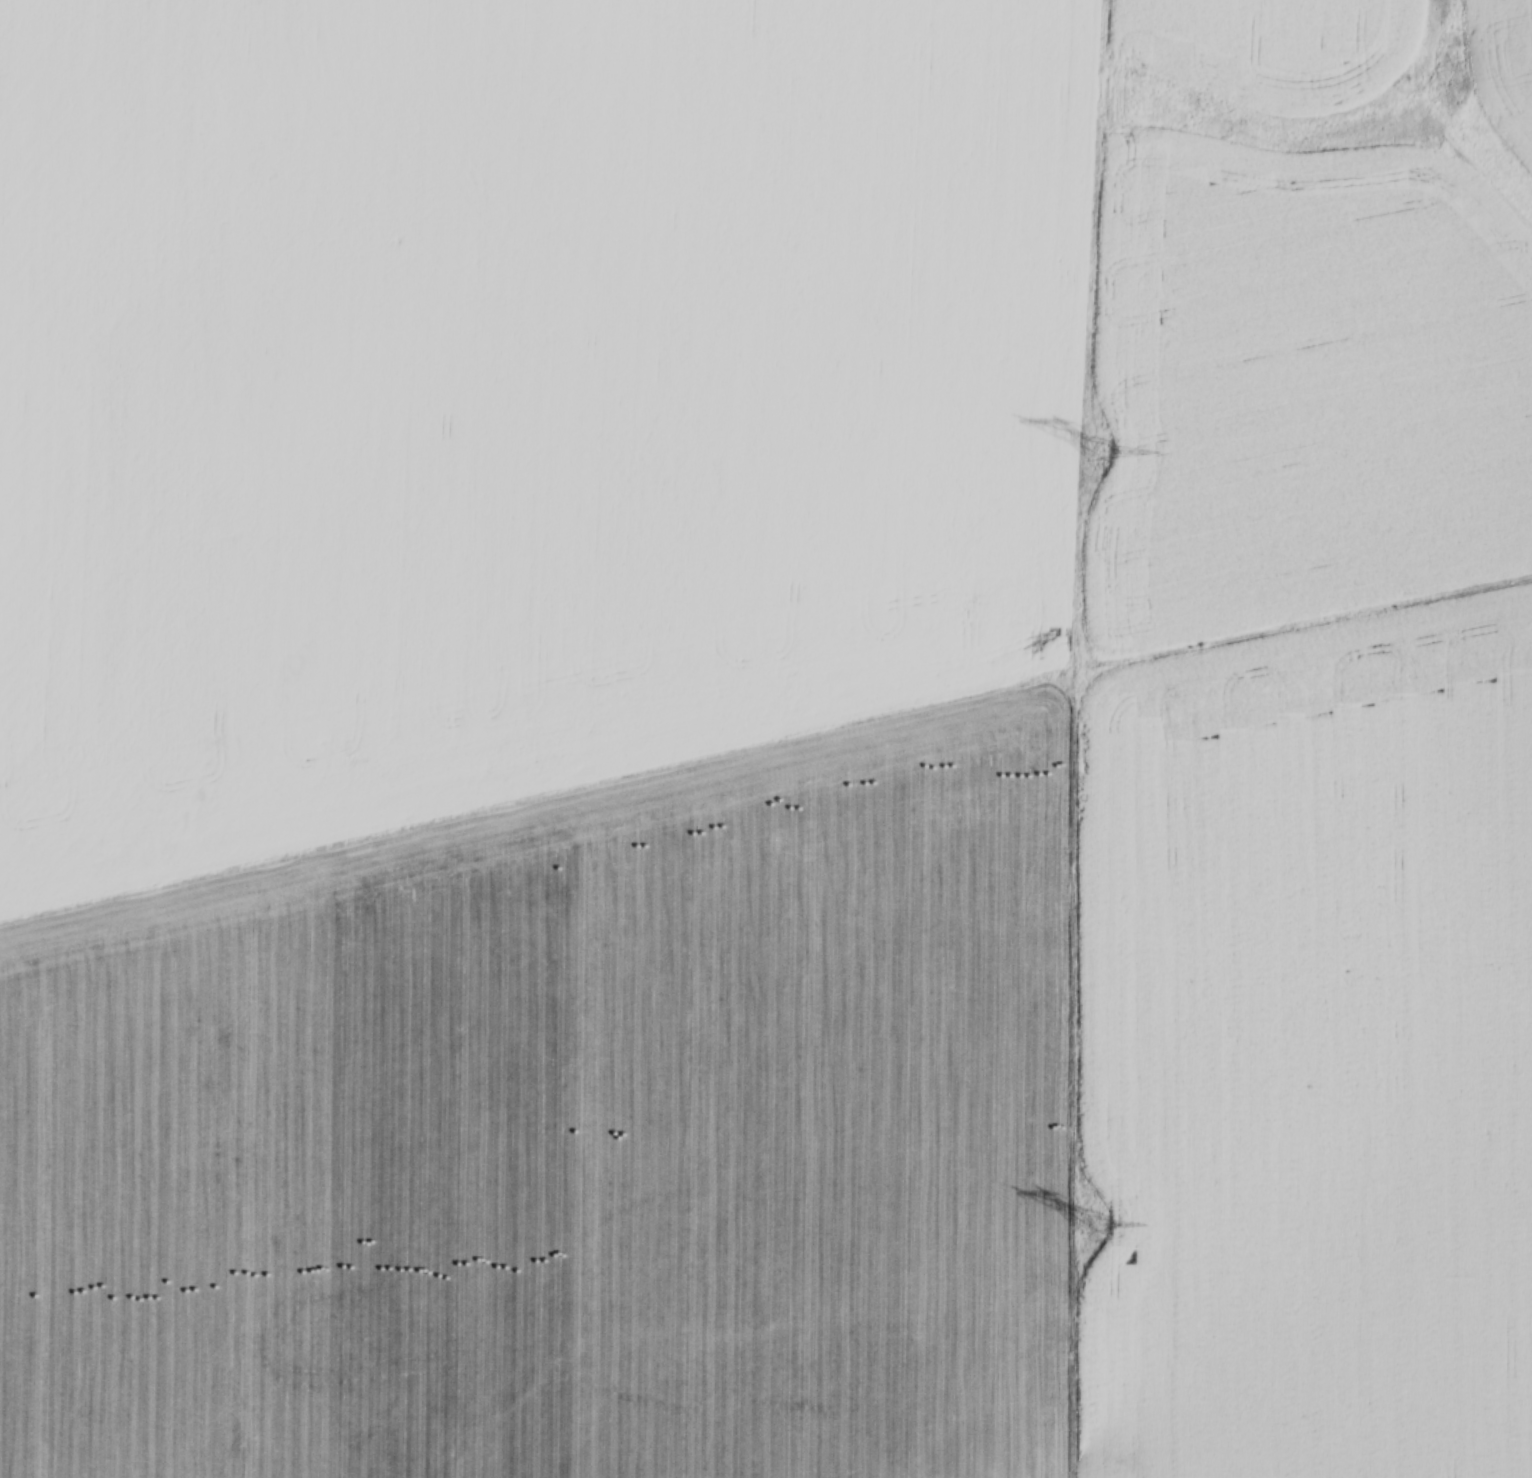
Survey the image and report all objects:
power tower: (1099, 455)
power tower: (1089, 1229)

